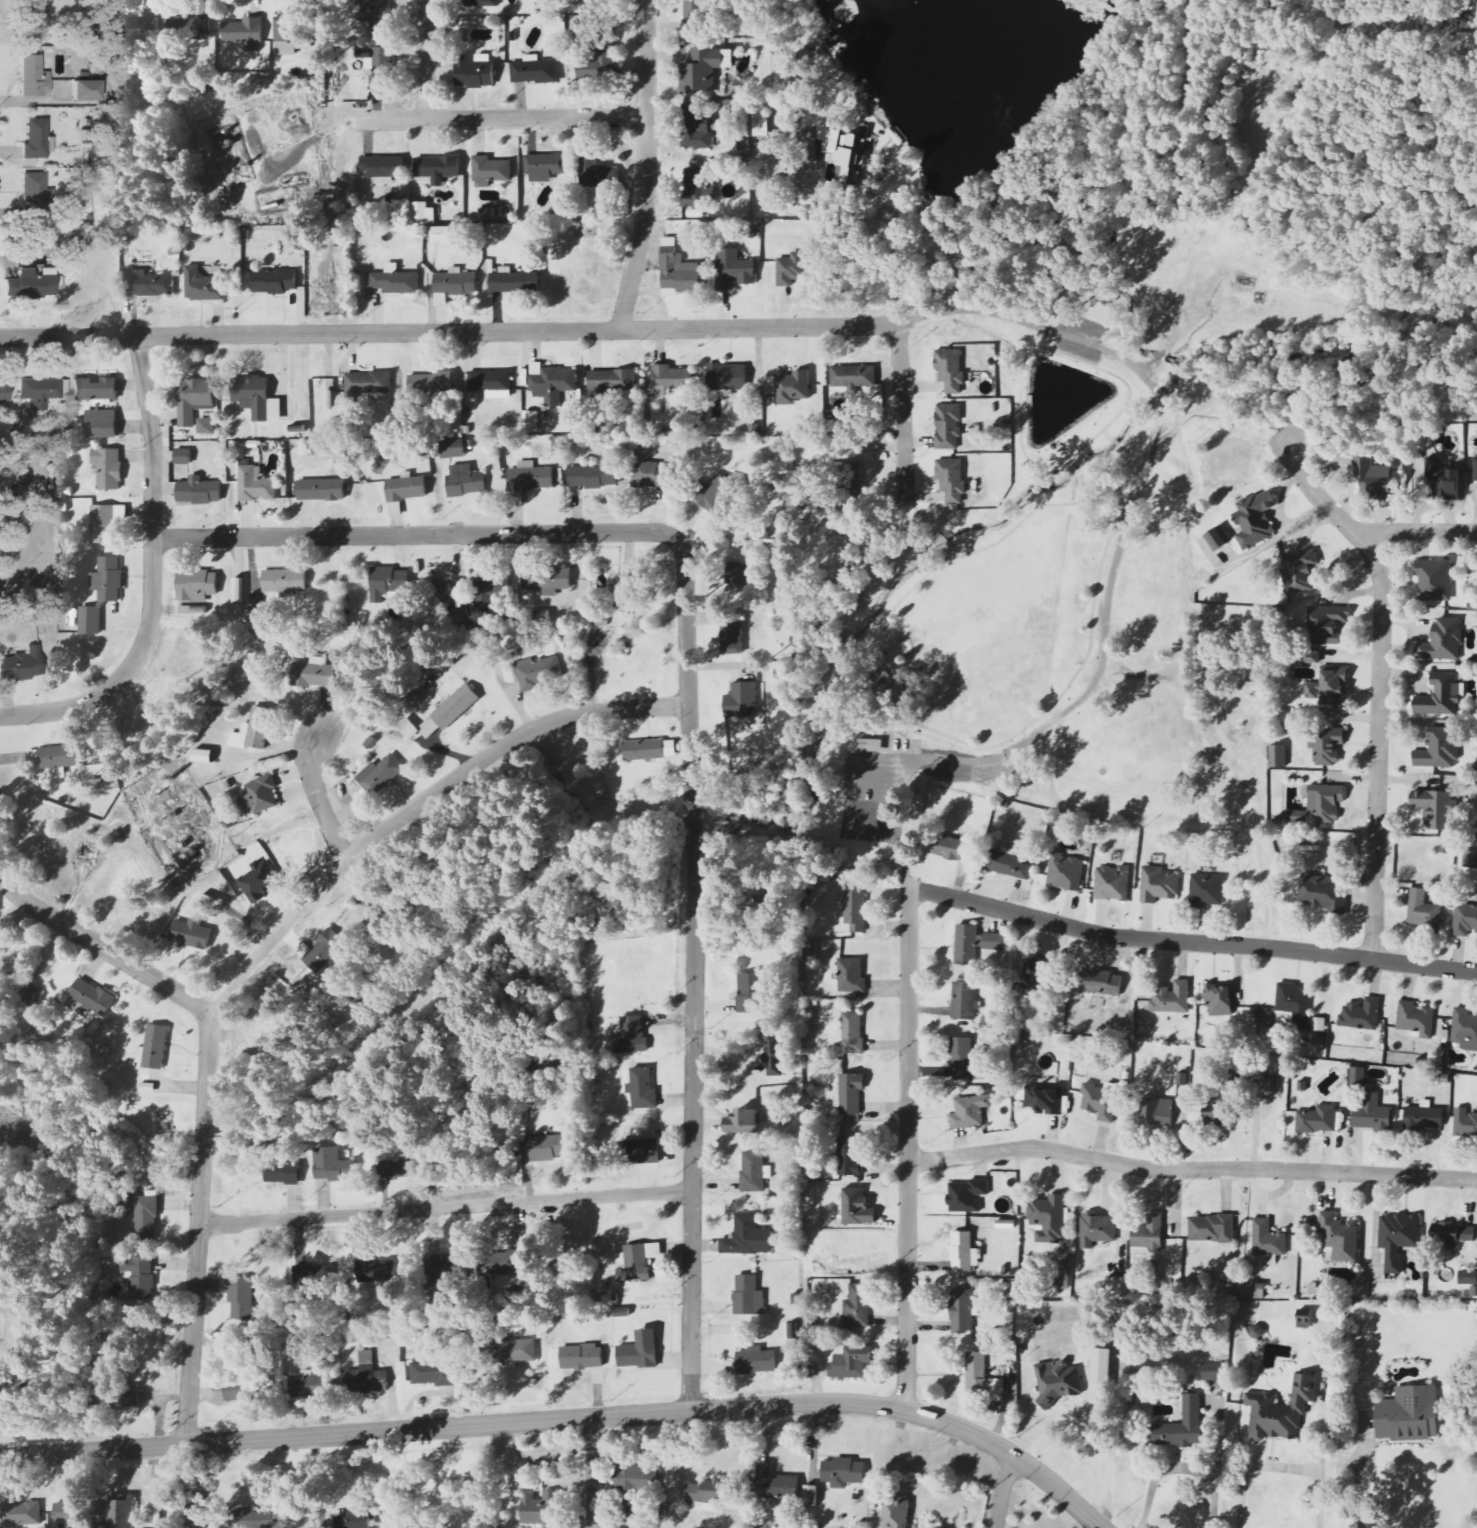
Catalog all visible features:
building: (17, 0)
building: (582, 0)
building: (481, 3)
building: (594, 8)
building: (373, 15)
building: (693, 17)
building: (30, 21)
building: (189, 27)
building: (139, 32)
building: (245, 34)
building: (287, 35)
building: (1465, 41)
road: (427, 59)
building: (598, 66)
building: (381, 68)
building: (704, 70)
building: (536, 71)
building: (34, 78)
building: (82, 92)
road: (502, 117)
building: (762, 122)
building: (695, 128)
building: (35, 142)
building: (851, 159)
road: (647, 166)
building: (545, 167)
building: (383, 168)
building: (437, 169)
building: (491, 172)
building: (598, 174)
building: (695, 189)
building: (34, 197)
building: (424, 213)
building: (441, 235)
building: (734, 270)
building: (791, 270)
building: (679, 274)
building: (274, 282)
building: (396, 282)
building: (513, 282)
building: (455, 283)
building: (31, 284)
building: (149, 285)
building: (203, 287)
road: (1040, 327)
road: (1180, 327)
road: (450, 331)
building: (950, 370)
building: (727, 377)
building: (854, 377)
building: (670, 379)
building: (613, 380)
building: (490, 381)
building: (370, 382)
building: (551, 383)
building: (430, 384)
building: (792, 387)
building: (95, 389)
building: (40, 392)
building: (4, 393)
building: (257, 398)
building: (193, 399)
road: (905, 410)
building: (531, 422)
building: (101, 423)
building: (206, 426)
building: (948, 426)
building: (453, 449)
building: (316, 450)
building: (182, 456)
building: (108, 468)
building: (1475, 469)
building: (648, 473)
building: (593, 476)
building: (848, 476)
building: (1376, 478)
building: (1442, 478)
building: (952, 479)
building: (529, 480)
building: (465, 481)
building: (256, 484)
building: (407, 488)
building: (321, 489)
building: (198, 490)
building: (718, 496)
building: (1254, 520)
building: (103, 524)
road: (1415, 530)
road: (416, 533)
building: (1218, 539)
building: (1300, 572)
park: (1050, 573)
road: (153, 574)
building: (107, 579)
building: (388, 579)
building: (547, 580)
building: (742, 580)
building: (1435, 581)
building: (284, 582)
building: (196, 585)
building: (238, 590)
building: (488, 592)
road: (1110, 596)
building: (255, 617)
building: (90, 620)
building: (1327, 624)
building: (732, 636)
building: (1443, 641)
building: (1311, 658)
building: (21, 665)
building: (537, 672)
building: (313, 673)
building: (1333, 685)
road: (1383, 685)
building: (1312, 691)
building: (1440, 696)
building: (742, 699)
building: (456, 707)
building: (410, 728)
building: (253, 730)
building: (871, 745)
building: (1328, 747)
building: (643, 750)
building: (1439, 750)
building: (203, 755)
building: (1278, 756)
building: (59, 757)
road: (877, 772)
building: (381, 773)
road: (902, 776)
building: (260, 794)
road: (319, 800)
building: (1326, 802)
building: (1435, 809)
building: (1296, 817)
road: (876, 823)
building: (953, 849)
building: (1470, 860)
building: (1008, 863)
building: (1066, 870)
building: (261, 882)
building: (1112, 883)
building: (1158, 885)
building: (1207, 891)
building: (1324, 893)
building: (854, 908)
building: (1423, 910)
building: (1465, 920)
building: (190, 933)
road: (1191, 943)
building: (966, 944)
road: (104, 948)
road: (261, 949)
building: (321, 949)
building: (1033, 973)
road: (694, 974)
building: (851, 974)
building: (1109, 980)
building: (750, 992)
building: (92, 996)
building: (1172, 997)
building: (1219, 999)
building: (964, 1000)
building: (1294, 1003)
building: (1361, 1014)
building: (1416, 1019)
building: (1319, 1024)
building: (1465, 1029)
building: (852, 1032)
building: (632, 1035)
building: (153, 1047)
building: (774, 1054)
building: (963, 1059)
building: (549, 1061)
building: (1358, 1075)
building: (1237, 1080)
building: (1275, 1081)
building: (642, 1088)
building: (851, 1094)
building: (1045, 1095)
building: (1100, 1102)
building: (1159, 1110)
building: (970, 1111)
building: (1217, 1111)
building: (1373, 1113)
building: (1424, 1116)
building: (1318, 1119)
building: (742, 1121)
building: (1465, 1123)
building: (548, 1147)
road: (909, 1150)
building: (639, 1151)
building: (849, 1157)
building: (330, 1165)
building: (395, 1168)
road: (1191, 1170)
building: (752, 1171)
building: (281, 1172)
building: (968, 1196)
road: (446, 1207)
building: (1048, 1217)
building: (145, 1218)
building: (1099, 1229)
building: (1212, 1229)
building: (1150, 1234)
building: (1452, 1234)
building: (747, 1236)
building: (1340, 1236)
building: (1268, 1238)
building: (1397, 1239)
building: (961, 1251)
building: (636, 1262)
building: (506, 1263)
building: (373, 1264)
building: (445, 1268)
building: (314, 1269)
building: (139, 1276)
building: (1467, 1277)
building: (1115, 1288)
building: (239, 1296)
building: (748, 1296)
building: (857, 1306)
building: (962, 1311)
building: (792, 1330)
building: (511, 1350)
building: (639, 1351)
building: (582, 1357)
building: (756, 1361)
building: (851, 1363)
building: (1213, 1371)
building: (429, 1373)
building: (364, 1375)
building: (1101, 1375)
building: (981, 1376)
building: (1059, 1382)
building: (310, 1385)
building: (235, 1392)
building: (122, 1397)
building: (1280, 1410)
building: (1408, 1414)
road: (568, 1418)
building: (1181, 1425)
road: (1278, 1466)
road: (1181, 1467)
road: (595, 1472)
building: (843, 1473)
building: (632, 1482)
building: (775, 1484)
road: (1003, 1491)
building: (705, 1495)
building: (811, 1496)
building: (541, 1510)
building: (122, 1511)
building: (65, 1513)
building: (21, 1514)
building: (896, 1514)
building: (253, 1519)
building: (357, 1520)

